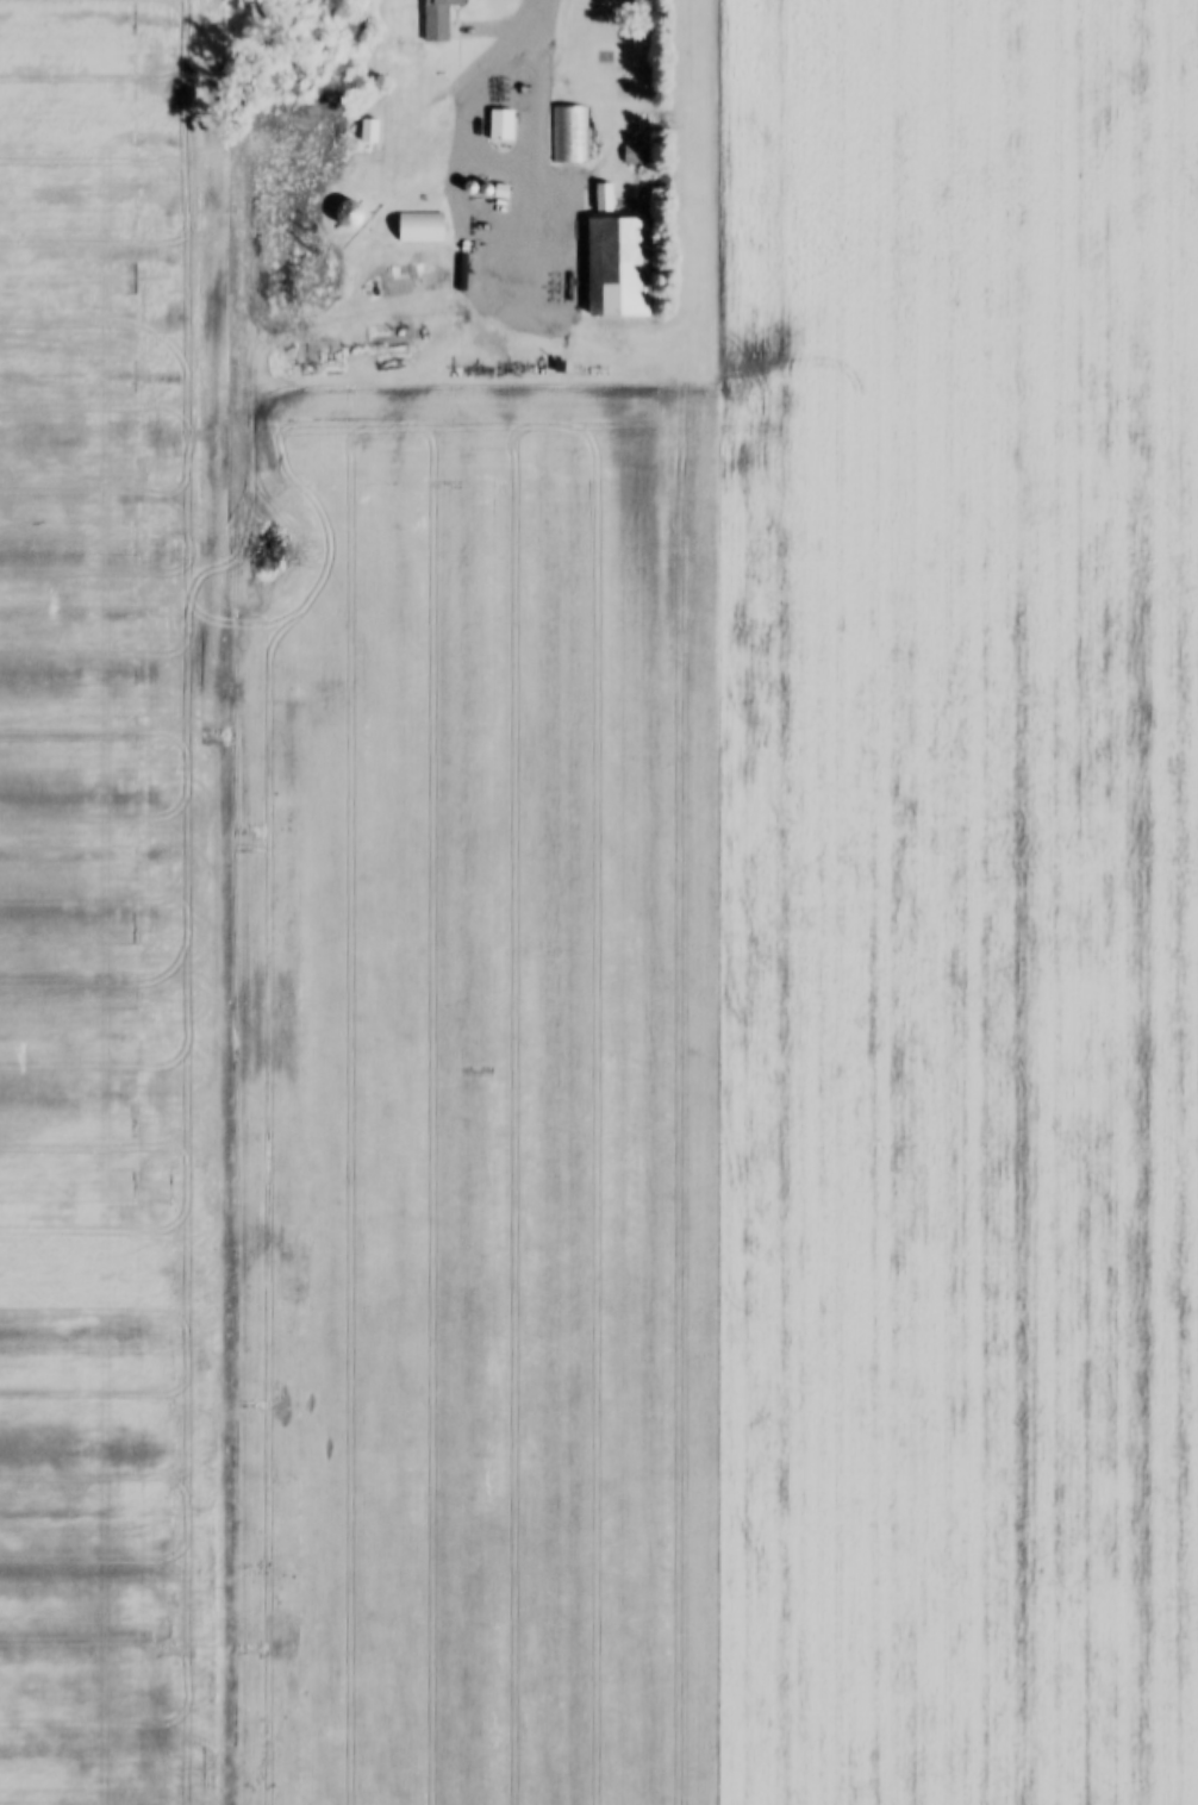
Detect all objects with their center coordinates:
building: (435, 18)
building: (499, 123)
building: (367, 130)
building: (568, 132)
building: (632, 152)
building: (601, 195)
building: (347, 213)
building: (418, 225)
road: (524, 241)
building: (616, 266)
airport runway: (682, 901)

